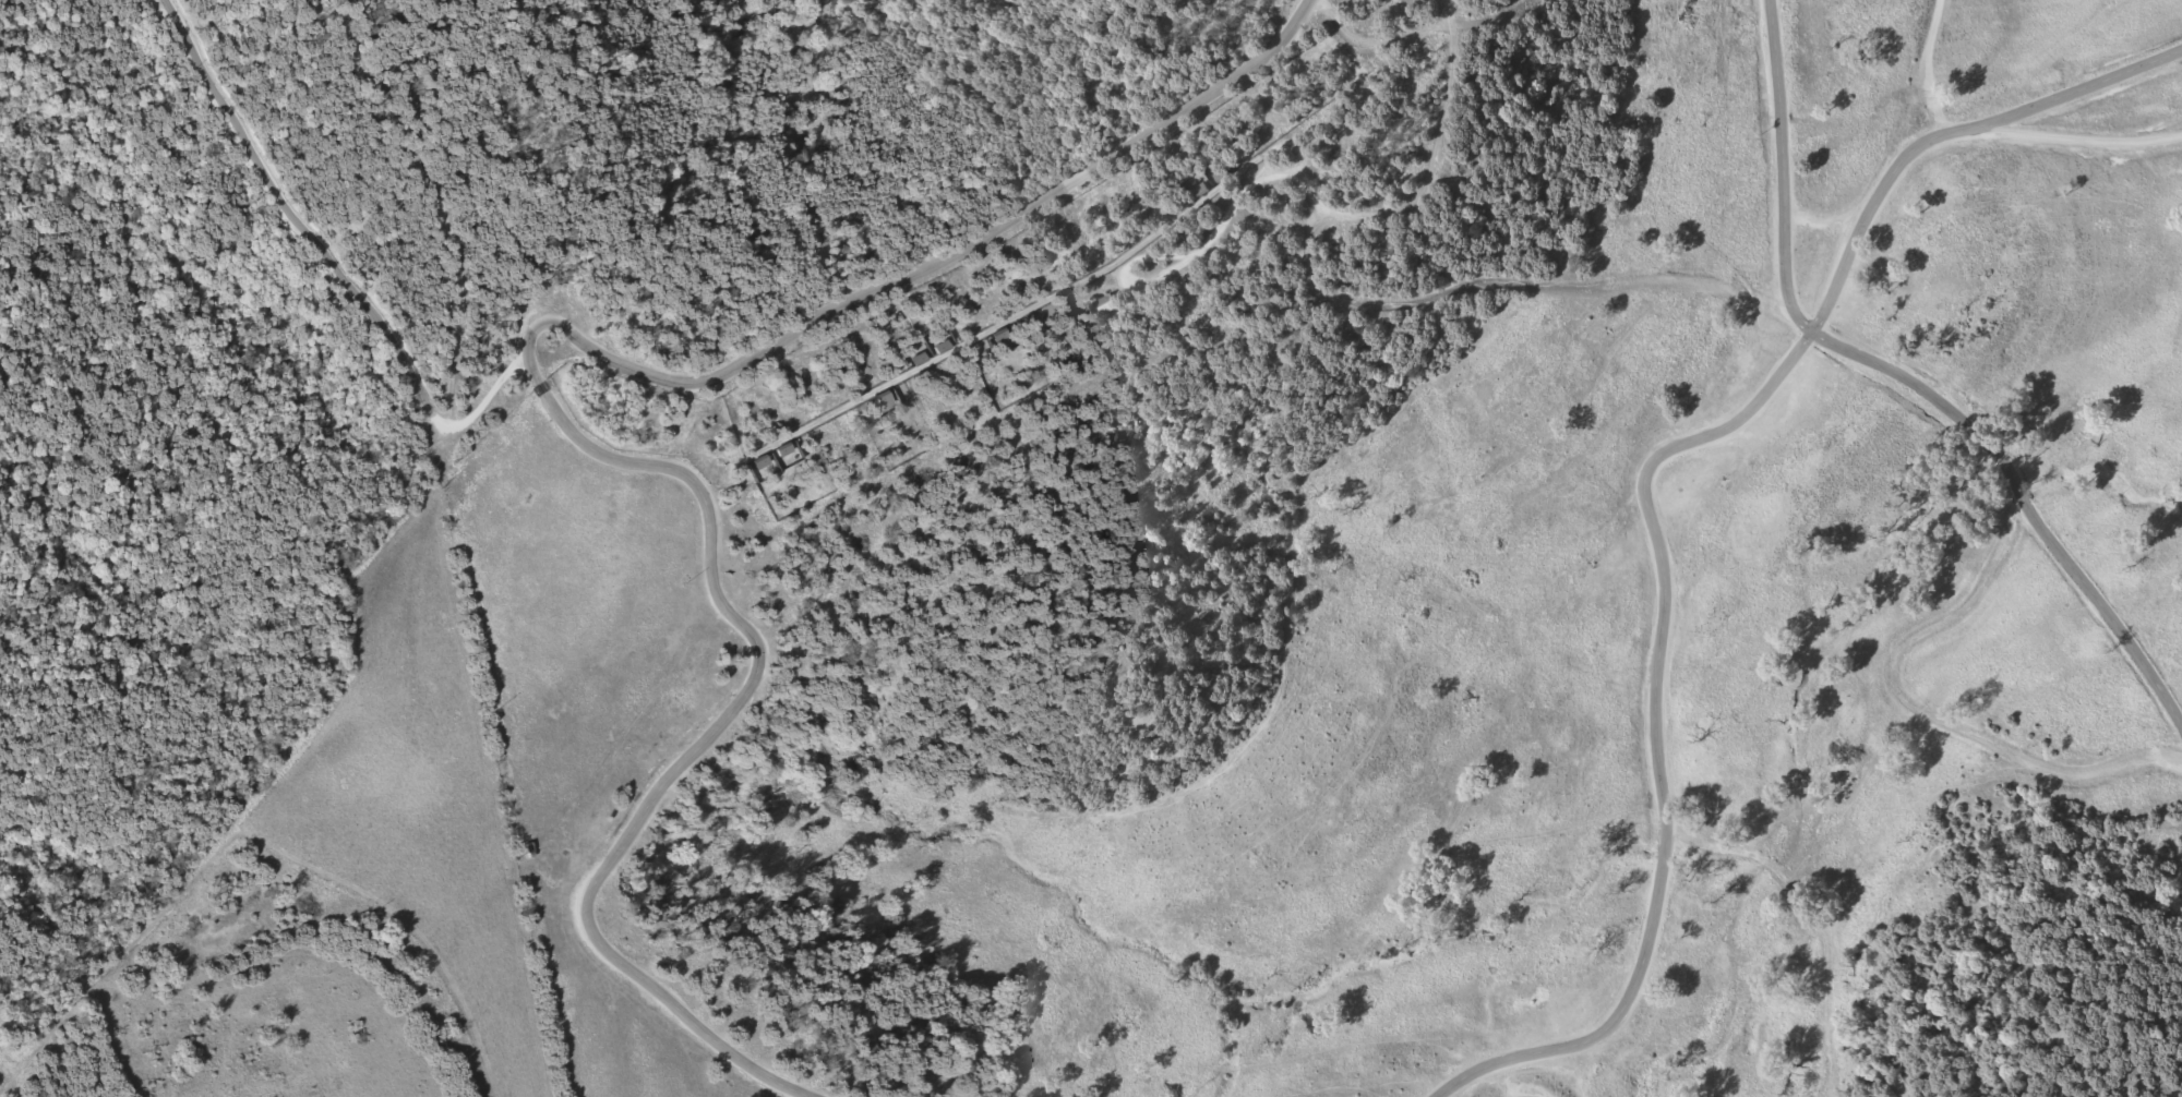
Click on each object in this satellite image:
road: (1926, 70)
road: (2062, 92)
road: (1435, 152)
road: (1787, 169)
building: (1202, 190)
road: (339, 249)
building: (1105, 304)
road: (558, 326)
road: (1843, 348)
building: (786, 449)
road: (1642, 497)
road: (204, 879)
road: (1819, 917)
road: (21, 1056)

